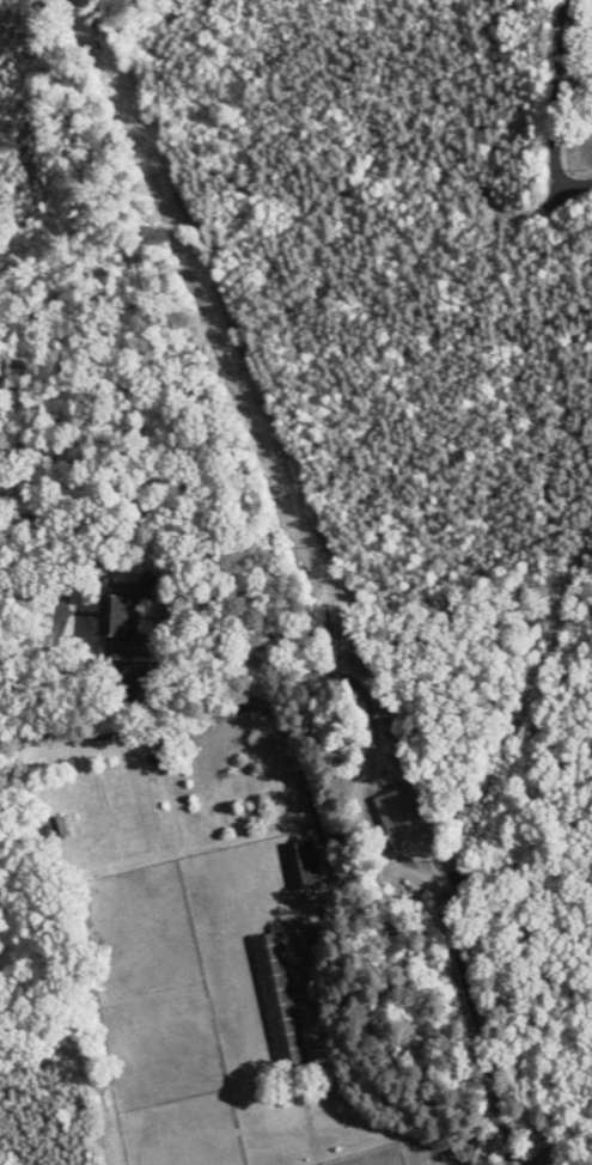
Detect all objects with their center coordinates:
road: (559, 114)
building: (126, 618)
building: (403, 812)
road: (317, 824)
building: (305, 865)
building: (282, 1004)

